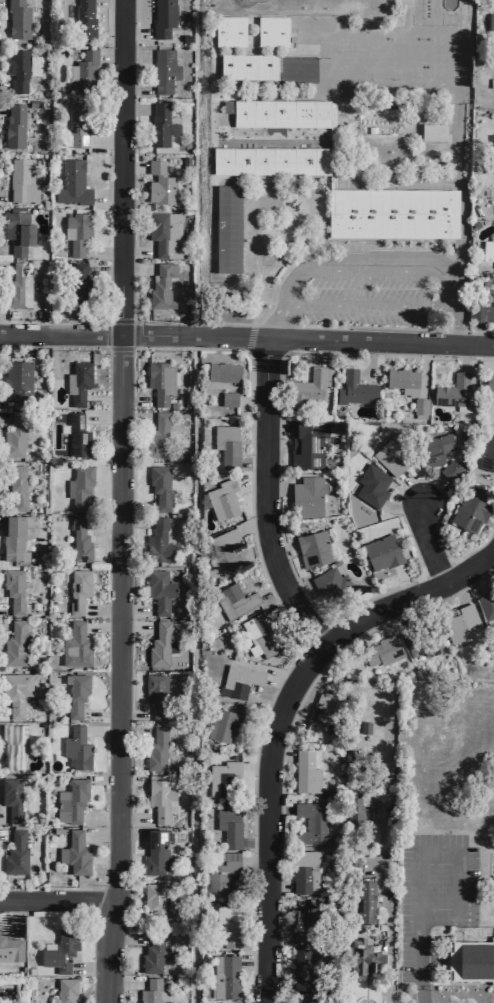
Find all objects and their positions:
road: (106, 0)
park: (273, 5)
building: (84, 17)
building: (21, 18)
building: (162, 18)
building: (490, 23)
building: (228, 31)
building: (271, 31)
road: (134, 33)
building: (185, 38)
park: (405, 39)
park: (445, 39)
road: (109, 57)
building: (265, 66)
park: (445, 67)
building: (18, 69)
building: (163, 70)
building: (83, 71)
road: (3, 86)
road: (134, 87)
road: (106, 104)
road: (134, 109)
road: (3, 110)
building: (280, 113)
road: (270, 124)
building: (77, 125)
building: (160, 125)
building: (14, 126)
building: (434, 134)
road: (103, 143)
building: (493, 152)
building: (184, 161)
building: (273, 161)
road: (131, 166)
road: (330, 171)
road: (275, 172)
building: (21, 181)
building: (72, 183)
building: (159, 183)
road: (460, 188)
road: (396, 192)
road: (4, 195)
road: (105, 196)
road: (302, 196)
building: (391, 213)
building: (227, 228)
building: (18, 231)
building: (76, 231)
building: (164, 232)
road: (248, 233)
road: (395, 234)
road: (241, 236)
road: (4, 251)
road: (135, 251)
road: (101, 253)
building: (493, 259)
road: (376, 260)
road: (5, 269)
road: (135, 269)
road: (102, 270)
road: (381, 270)
building: (77, 285)
building: (161, 285)
building: (18, 286)
parking lot: (376, 301)
road: (372, 308)
building: (483, 313)
road: (148, 322)
road: (274, 324)
road: (396, 328)
road: (476, 332)
road: (247, 335)
road: (247, 339)
road: (199, 349)
building: (222, 371)
building: (60, 373)
building: (401, 378)
building: (489, 380)
building: (78, 381)
building: (161, 381)
building: (20, 382)
building: (307, 388)
building: (354, 388)
building: (452, 391)
building: (227, 398)
road: (3, 399)
road: (101, 400)
road: (134, 400)
building: (172, 405)
building: (419, 405)
road: (100, 416)
road: (135, 416)
road: (4, 417)
building: (157, 435)
building: (13, 436)
building: (77, 436)
building: (305, 443)
building: (225, 444)
building: (433, 448)
building: (392, 452)
building: (487, 455)
building: (449, 470)
road: (249, 480)
building: (78, 485)
building: (159, 485)
building: (371, 485)
building: (17, 486)
building: (306, 496)
building: (222, 499)
road: (262, 499)
road: (116, 501)
road: (133, 505)
building: (468, 512)
street lamp: (399, 513)
road: (0, 519)
road: (133, 523)
road: (250, 526)
building: (15, 536)
building: (79, 539)
building: (157, 542)
road: (423, 542)
building: (313, 548)
building: (223, 550)
building: (381, 552)
road: (105, 556)
road: (292, 573)
road: (402, 581)
street lamp: (413, 581)
building: (330, 584)
building: (78, 590)
building: (159, 590)
building: (14, 591)
road: (408, 596)
building: (233, 600)
road: (278, 604)
building: (487, 607)
road: (3, 608)
road: (100, 610)
road: (133, 610)
road: (133, 625)
road: (4, 626)
building: (461, 626)
road: (101, 627)
building: (264, 633)
building: (424, 642)
building: (161, 644)
building: (15, 645)
building: (75, 647)
building: (382, 654)
building: (240, 680)
building: (14, 692)
building: (75, 694)
building: (155, 694)
road: (99, 713)
road: (133, 715)
building: (320, 715)
building: (225, 723)
road: (133, 729)
road: (287, 730)
road: (100, 731)
building: (14, 745)
building: (75, 748)
building: (156, 748)
street lamp: (255, 751)
road: (253, 767)
building: (305, 772)
building: (221, 777)
road: (101, 779)
building: (11, 798)
building: (160, 799)
building: (70, 800)
building: (353, 807)
road: (267, 817)
road: (2, 818)
road: (98, 818)
road: (133, 818)
building: (310, 822)
building: (227, 826)
road: (130, 833)
road: (4, 835)
road: (99, 835)
road: (459, 841)
building: (154, 852)
building: (15, 853)
building: (74, 853)
road: (254, 859)
building: (304, 871)
building: (220, 876)
parking lot: (434, 892)
road: (57, 895)
building: (365, 898)
building: (155, 900)
road: (386, 905)
road: (14, 916)
building: (227, 924)
building: (309, 926)
road: (127, 939)
building: (10, 948)
building: (59, 950)
building: (363, 953)
building: (152, 954)
building: (299, 956)
road: (252, 959)
building: (470, 960)
road: (418, 962)
road: (88, 968)
building: (224, 976)
road: (124, 981)
road: (88, 987)
building: (66, 990)
building: (151, 991)
road: (364, 991)
building: (223, 1001)

